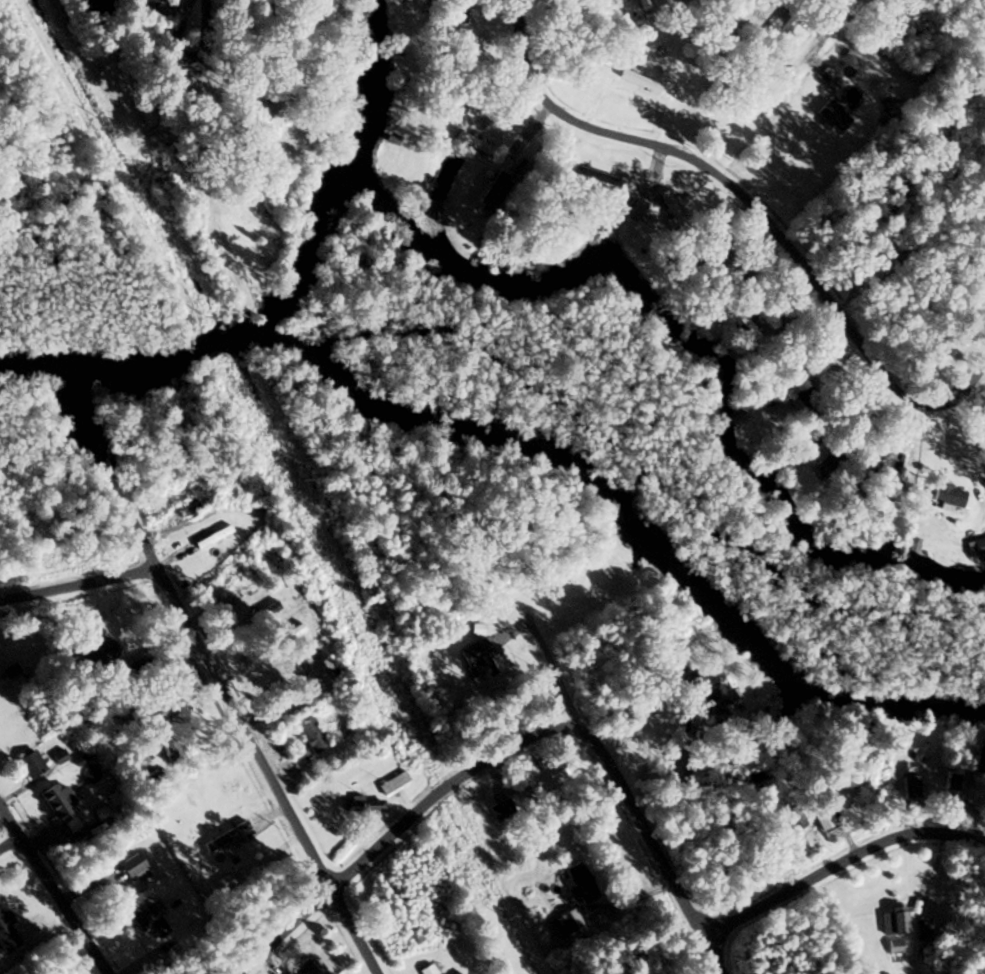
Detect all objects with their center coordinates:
road: (447, 17)
road: (199, 50)
building: (637, 80)
road: (779, 82)
building: (830, 116)
power tower: (95, 117)
building: (473, 143)
building: (590, 177)
road: (752, 207)
building: (672, 212)
building: (639, 213)
building: (209, 245)
power tower: (207, 317)
building: (797, 448)
building: (890, 469)
power tower: (293, 480)
building: (945, 494)
building: (196, 505)
building: (211, 536)
building: (975, 546)
road: (150, 548)
building: (225, 564)
building: (243, 586)
building: (263, 610)
road: (89, 614)
building: (290, 632)
building: (472, 657)
building: (290, 699)
building: (712, 701)
building: (153, 704)
power tower: (388, 717)
building: (309, 734)
building: (978, 761)
building: (29, 763)
building: (543, 776)
building: (950, 781)
building: (392, 783)
road: (275, 786)
road: (618, 786)
building: (908, 786)
building: (54, 802)
building: (201, 803)
building: (360, 806)
building: (497, 810)
building: (788, 817)
building: (817, 817)
road: (394, 833)
building: (224, 835)
road: (8, 849)
road: (840, 864)
building: (128, 867)
building: (577, 881)
road: (48, 896)
power tower: (504, 916)
building: (147, 920)
building: (565, 920)
road: (718, 921)
building: (892, 921)
building: (923, 932)
building: (6, 934)
building: (942, 934)
building: (894, 946)
building: (300, 967)
building: (881, 972)
building: (457, 973)

